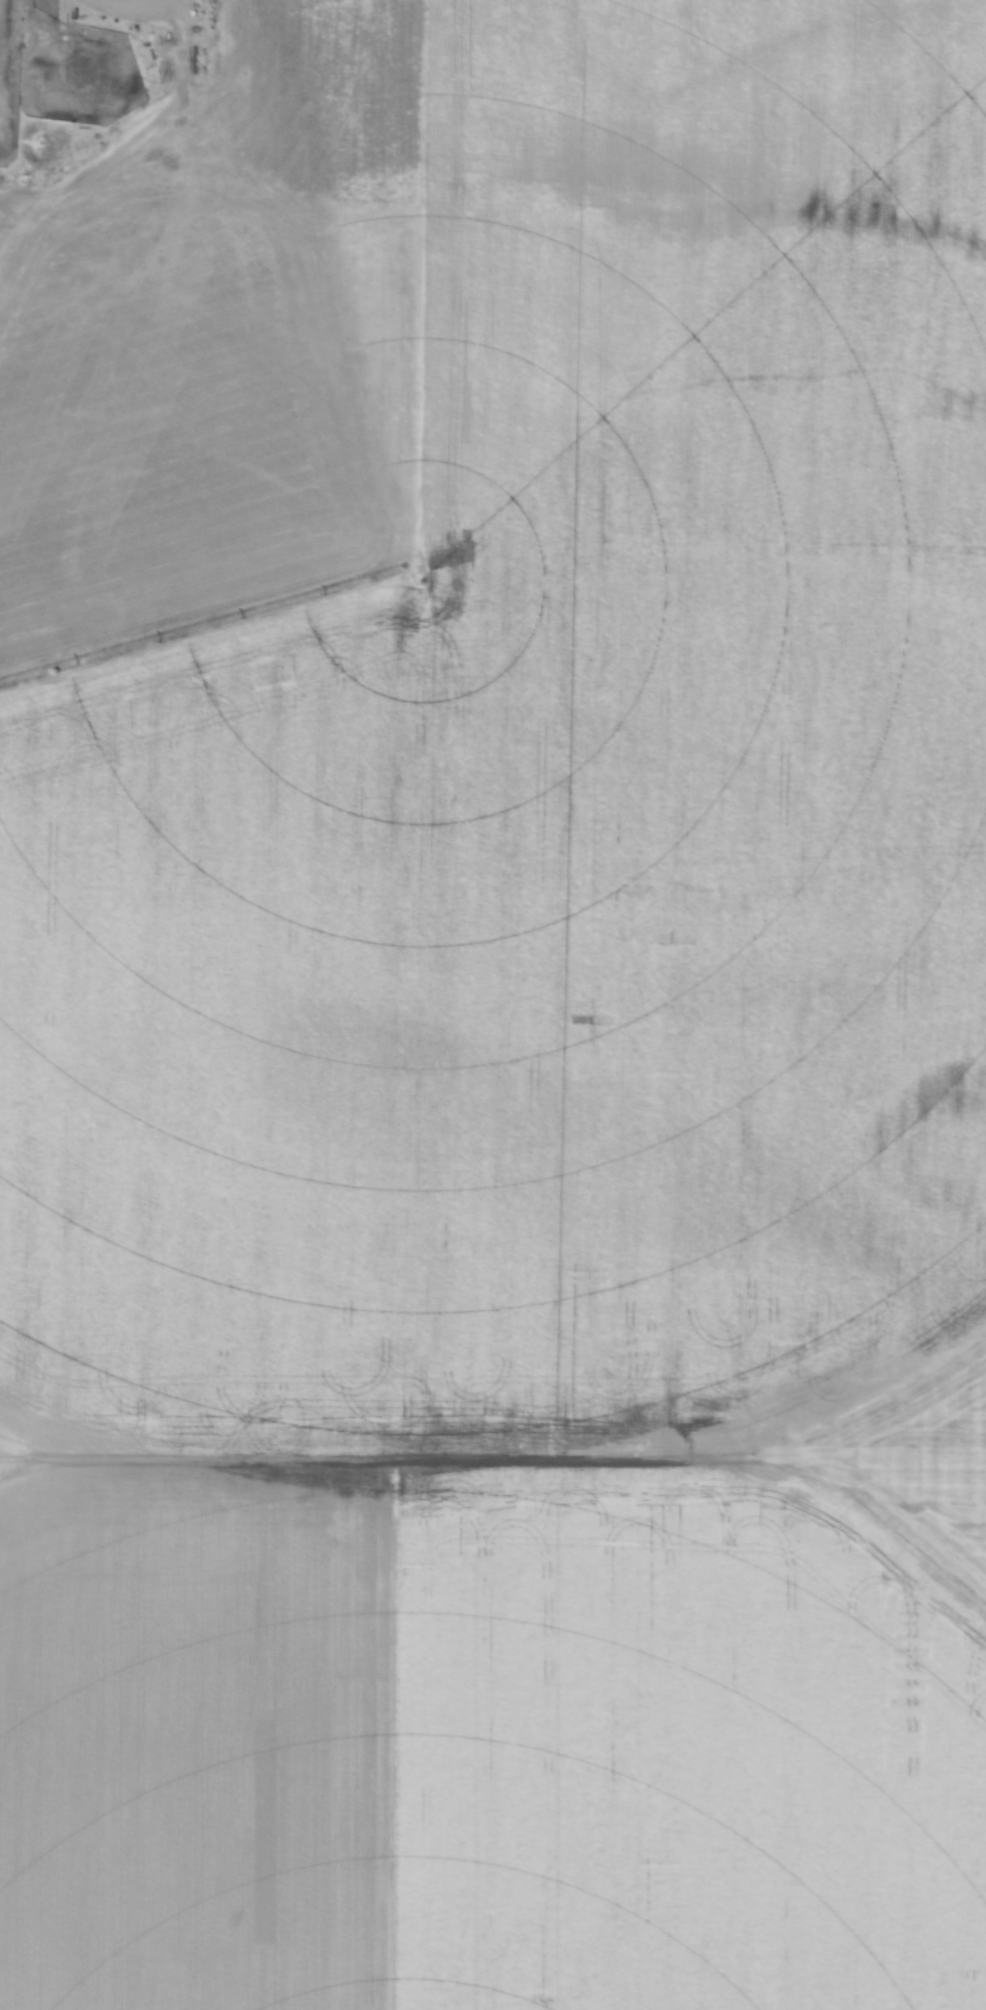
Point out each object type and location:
road: (135, 14)
building: (83, 29)
building: (196, 80)
crop: (505, 1032)

